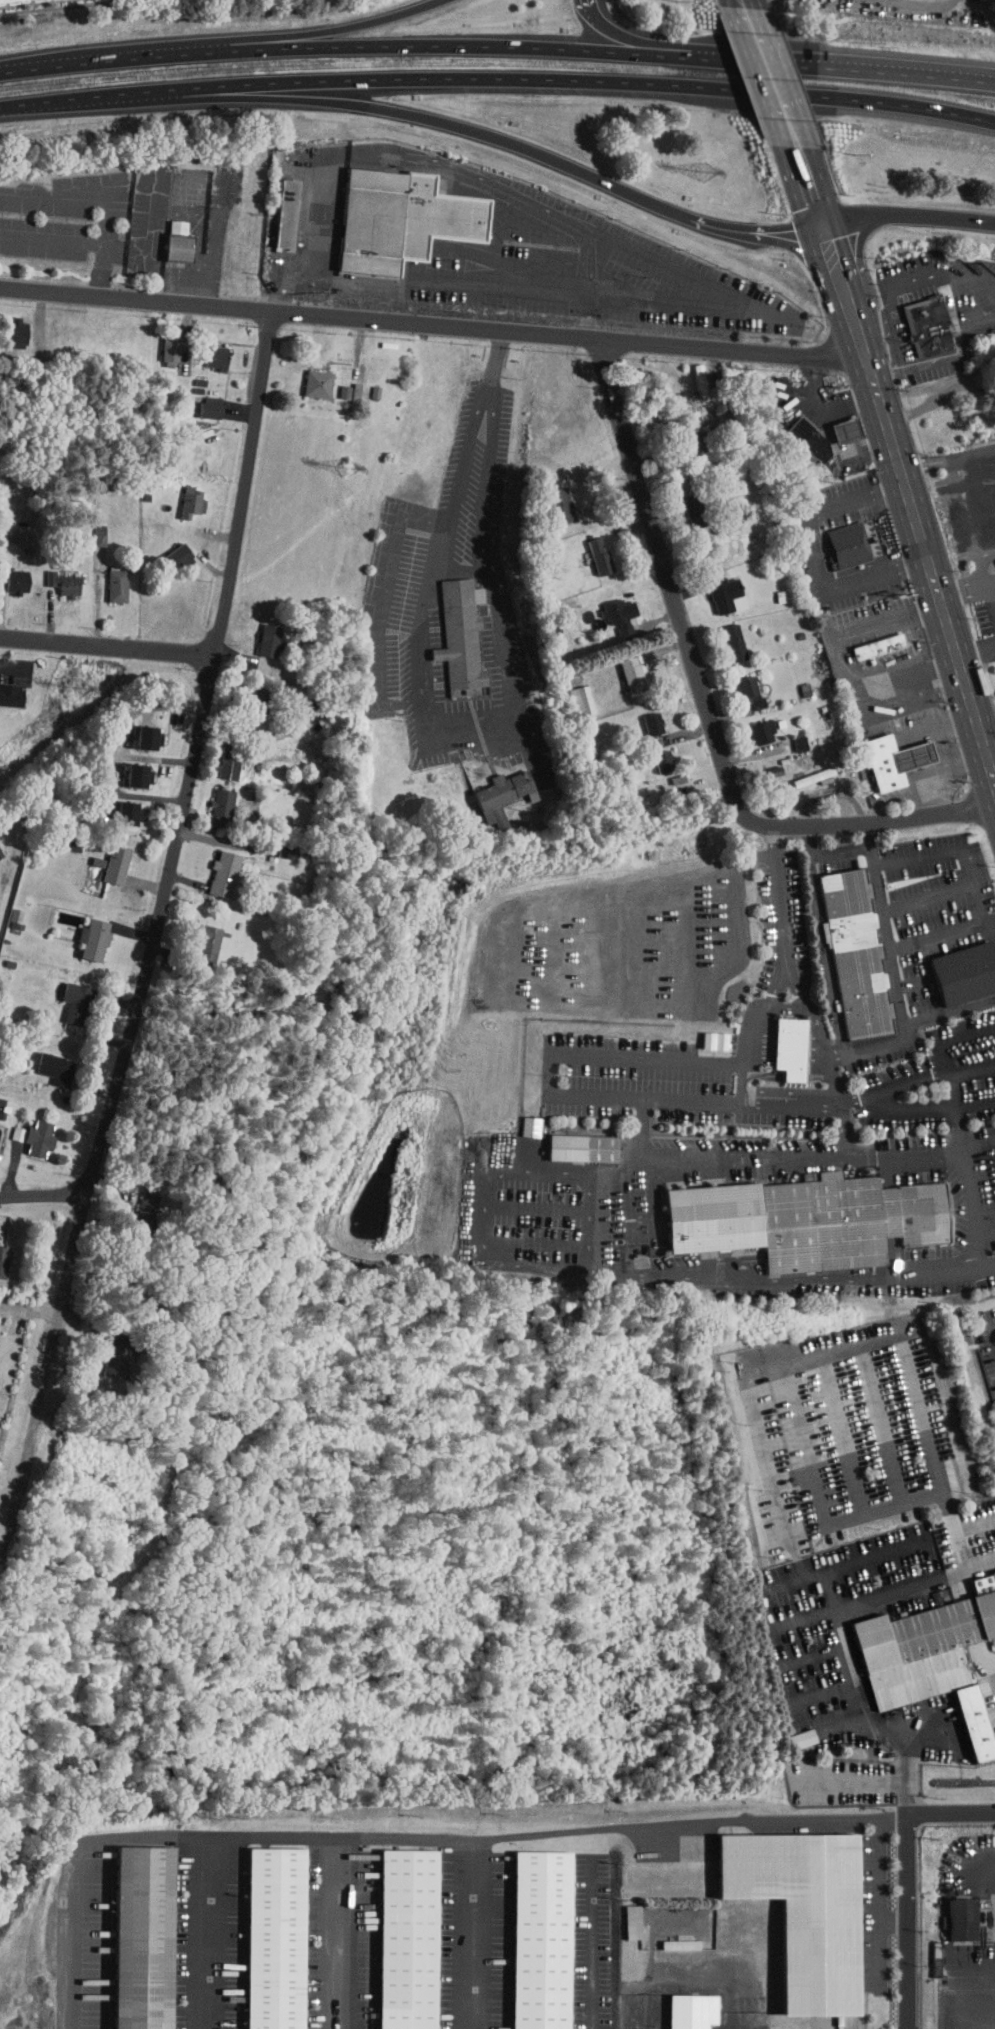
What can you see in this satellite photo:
building: (11, 1)
road: (591, 5)
road: (746, 6)
road: (326, 31)
road: (633, 36)
road: (446, 45)
road: (106, 59)
road: (837, 64)
road: (771, 75)
road: (568, 78)
road: (69, 97)
road: (425, 117)
power tower: (705, 173)
road: (808, 181)
road: (80, 195)
building: (276, 207)
building: (390, 213)
road: (908, 213)
traffic signals: (823, 225)
road: (758, 232)
building: (168, 235)
road: (53, 240)
road: (671, 264)
road: (105, 269)
road: (839, 271)
road: (925, 276)
road: (286, 289)
building: (917, 320)
road: (434, 322)
building: (7, 326)
road: (875, 328)
building: (159, 346)
road: (896, 346)
building: (205, 351)
road: (497, 354)
road: (946, 358)
building: (307, 377)
building: (335, 385)
building: (346, 385)
building: (200, 401)
road: (829, 402)
building: (836, 423)
building: (847, 430)
building: (799, 434)
road: (949, 460)
power tower: (349, 467)
road: (963, 486)
building: (181, 496)
road: (860, 497)
building: (550, 499)
building: (684, 503)
road: (972, 521)
building: (89, 529)
building: (850, 545)
road: (926, 546)
road: (814, 549)
building: (590, 551)
building: (167, 552)
road: (982, 558)
road: (879, 572)
building: (8, 575)
building: (53, 577)
building: (107, 579)
road: (992, 586)
building: (716, 589)
road: (966, 592)
road: (992, 596)
road: (377, 602)
building: (609, 608)
building: (449, 633)
building: (260, 635)
building: (724, 636)
building: (868, 640)
road: (110, 649)
road: (831, 655)
road: (977, 655)
road: (13, 664)
building: (622, 667)
building: (740, 686)
building: (5, 689)
power tower: (83, 690)
building: (572, 695)
road: (705, 698)
building: (642, 718)
building: (752, 727)
building: (135, 732)
road: (458, 732)
road: (904, 736)
building: (790, 738)
road: (991, 748)
road: (119, 753)
building: (653, 755)
building: (914, 755)
road: (158, 758)
building: (218, 761)
building: (885, 762)
building: (126, 770)
building: (805, 771)
building: (493, 790)
building: (211, 796)
building: (118, 808)
road: (855, 832)
road: (956, 842)
building: (105, 858)
building: (213, 868)
road: (168, 882)
road: (922, 890)
road: (779, 899)
building: (5, 908)
road: (701, 910)
road: (931, 928)
building: (83, 933)
building: (197, 939)
road: (878, 946)
building: (845, 949)
road: (825, 955)
building: (965, 973)
building: (64, 997)
road: (812, 1009)
road: (764, 1016)
building: (780, 1043)
road: (876, 1047)
building: (44, 1061)
road: (952, 1069)
road: (553, 1075)
road: (839, 1077)
road: (745, 1080)
road: (897, 1087)
road: (696, 1102)
road: (793, 1103)
road: (976, 1104)
building: (7, 1127)
road: (845, 1128)
building: (28, 1131)
building: (572, 1140)
road: (980, 1141)
road: (804, 1153)
road: (47, 1193)
road: (974, 1198)
building: (714, 1217)
road: (981, 1251)
road: (492, 1259)
road: (794, 1280)
road: (986, 1339)
building: (107, 1349)
road: (817, 1352)
road: (883, 1424)
road: (846, 1433)
road: (809, 1442)
road: (18, 1499)
road: (870, 1515)
road: (879, 1554)
road: (973, 1565)
road: (818, 1573)
road: (936, 1579)
road: (799, 1609)
road: (806, 1647)
building: (925, 1647)
road: (867, 1711)
building: (791, 1732)
road: (866, 1781)
road: (895, 1816)
road: (809, 1818)
road: (599, 1821)
road: (276, 1837)
road: (906, 1877)
road: (883, 1882)
building: (793, 1905)
building: (953, 1913)
building: (622, 1916)
road: (201, 1932)
road: (339, 1933)
building: (131, 1934)
building: (264, 1935)
building: (397, 1936)
building: (530, 1936)
building: (669, 1938)
road: (590, 1943)
building: (681, 2008)

